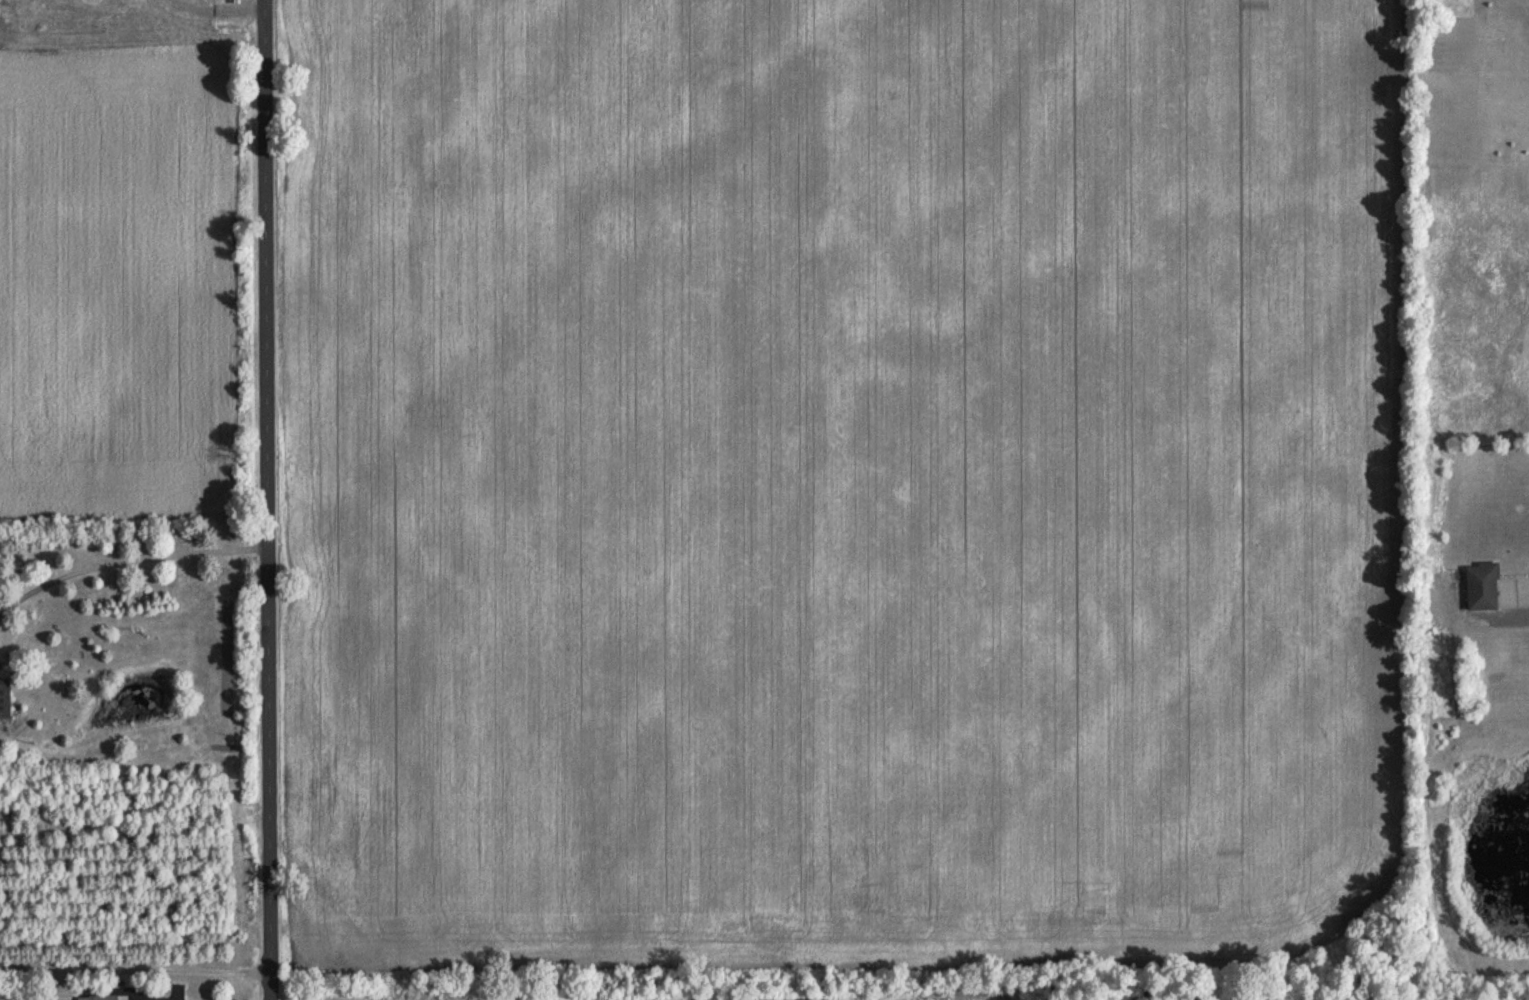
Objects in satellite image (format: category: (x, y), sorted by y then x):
road: (271, 500)
road: (127, 557)
building: (1479, 586)
building: (7, 697)
building: (106, 997)

